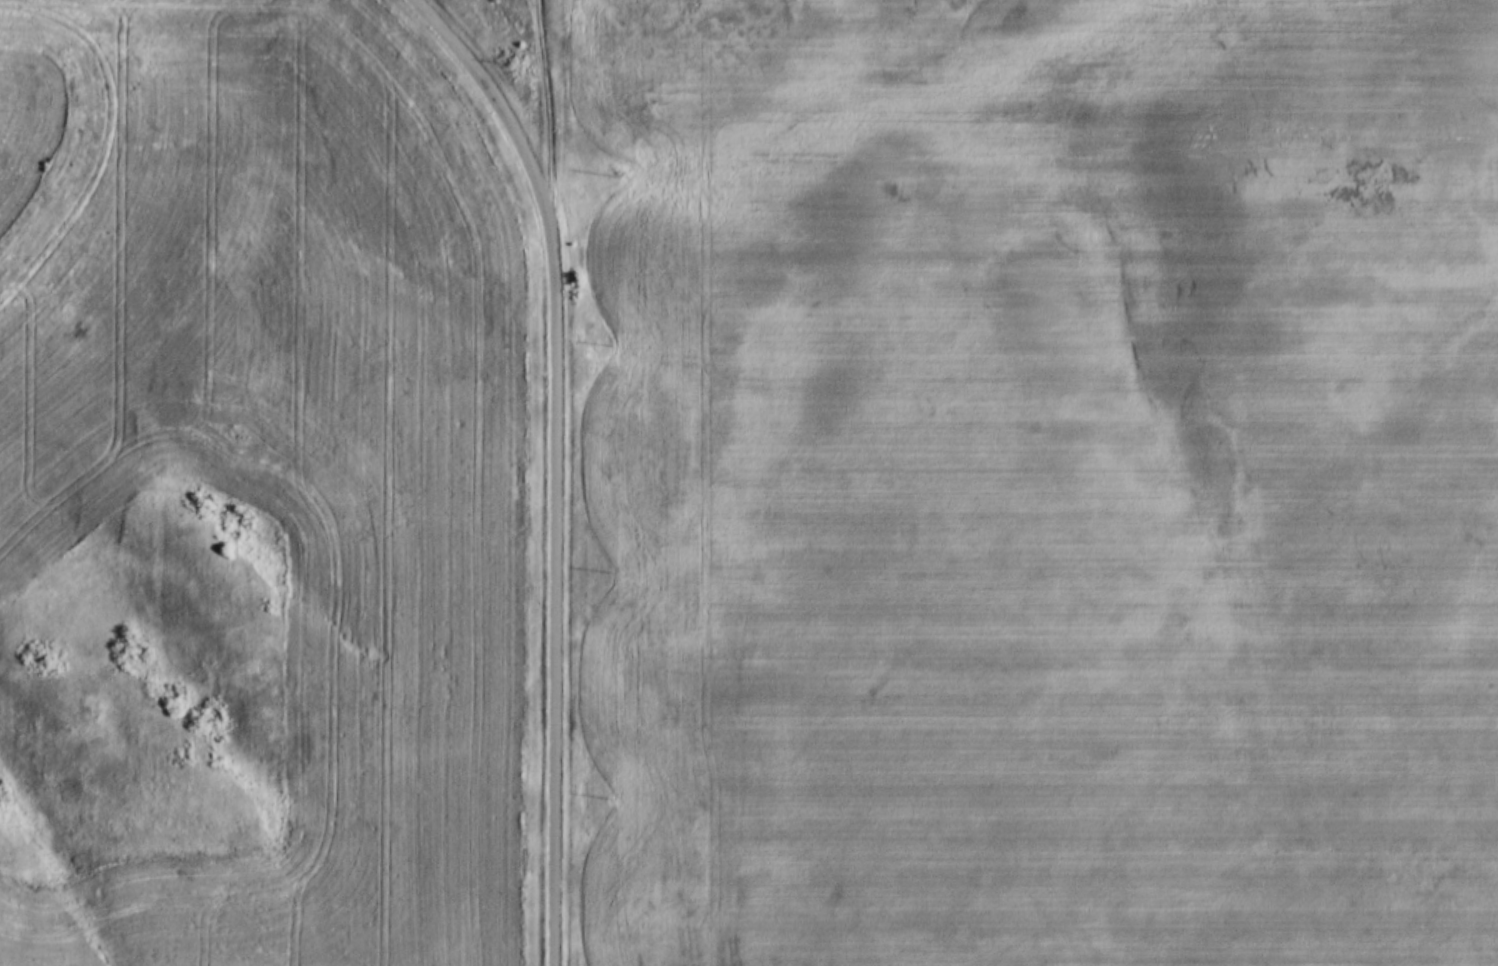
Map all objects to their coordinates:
road: (499, 104)
road: (545, 113)
road: (555, 596)

